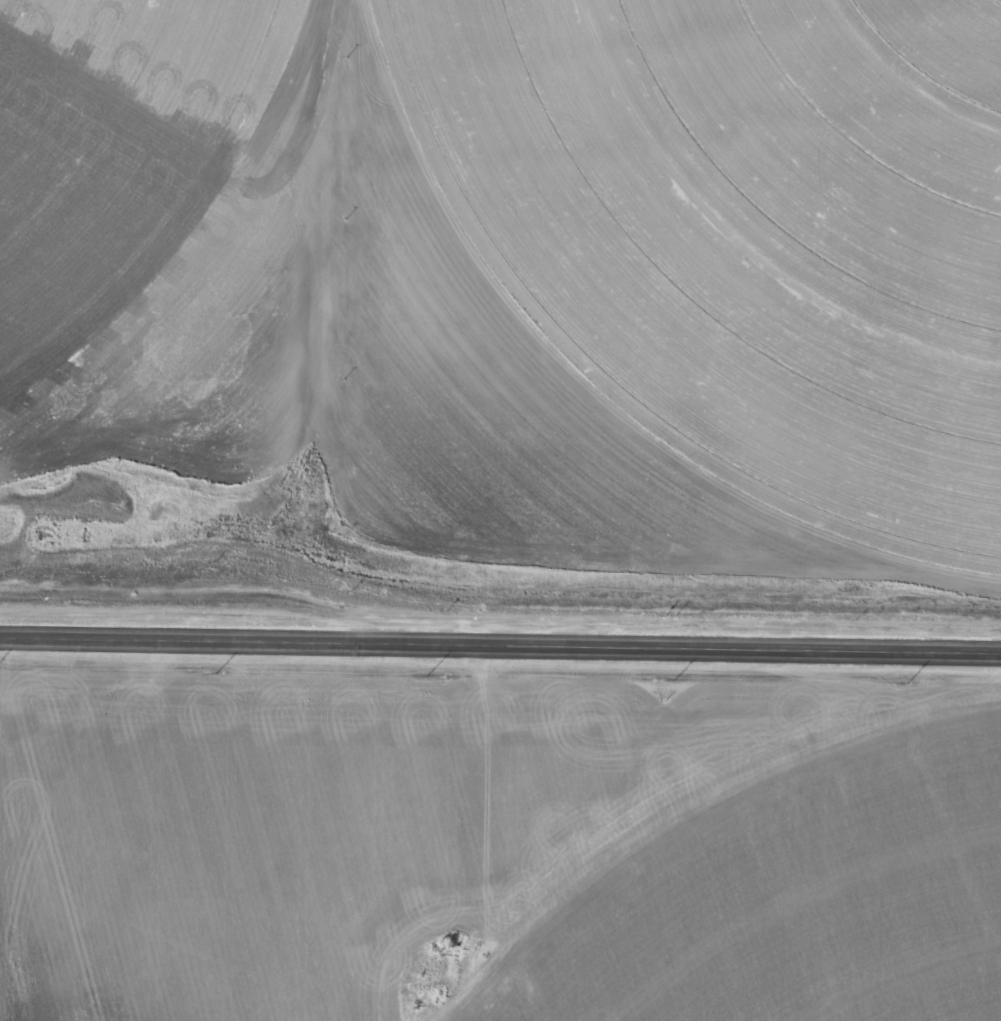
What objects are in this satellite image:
road: (500, 643)

